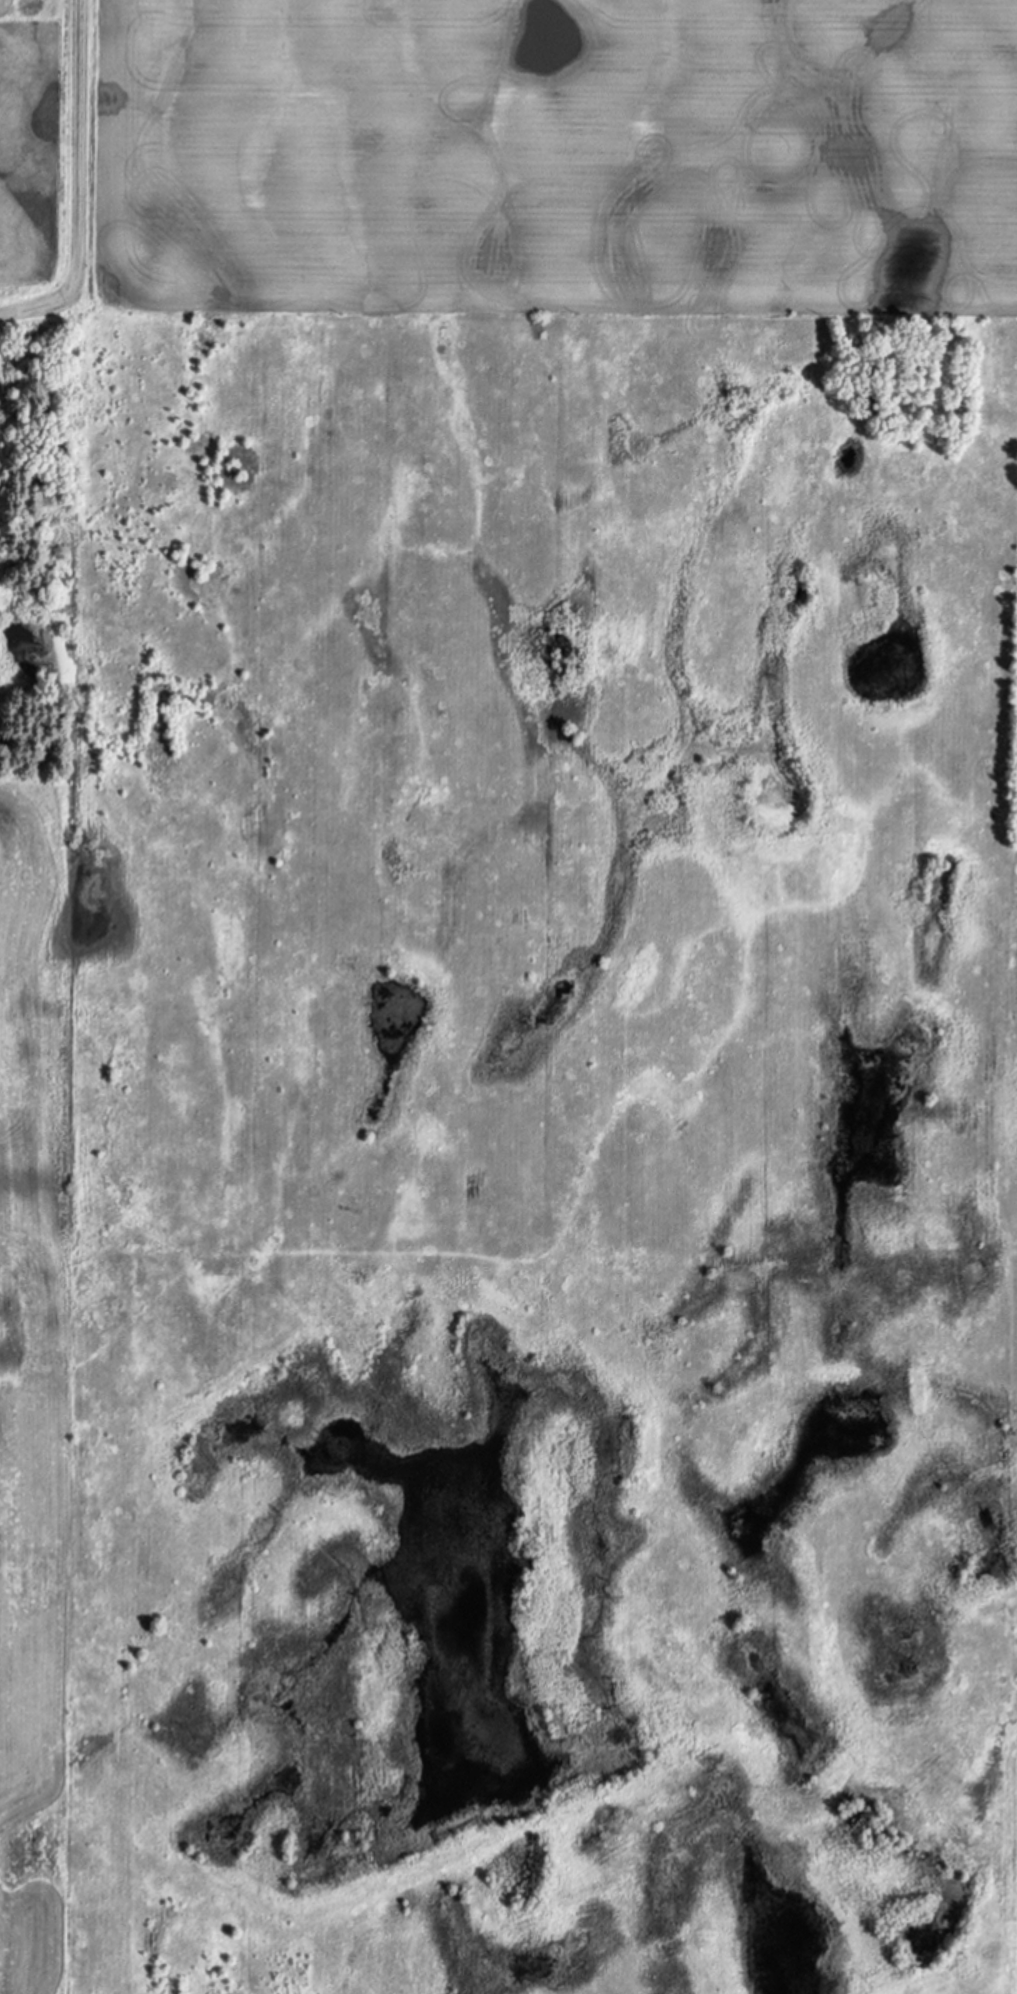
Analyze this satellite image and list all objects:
road: (81, 183)

